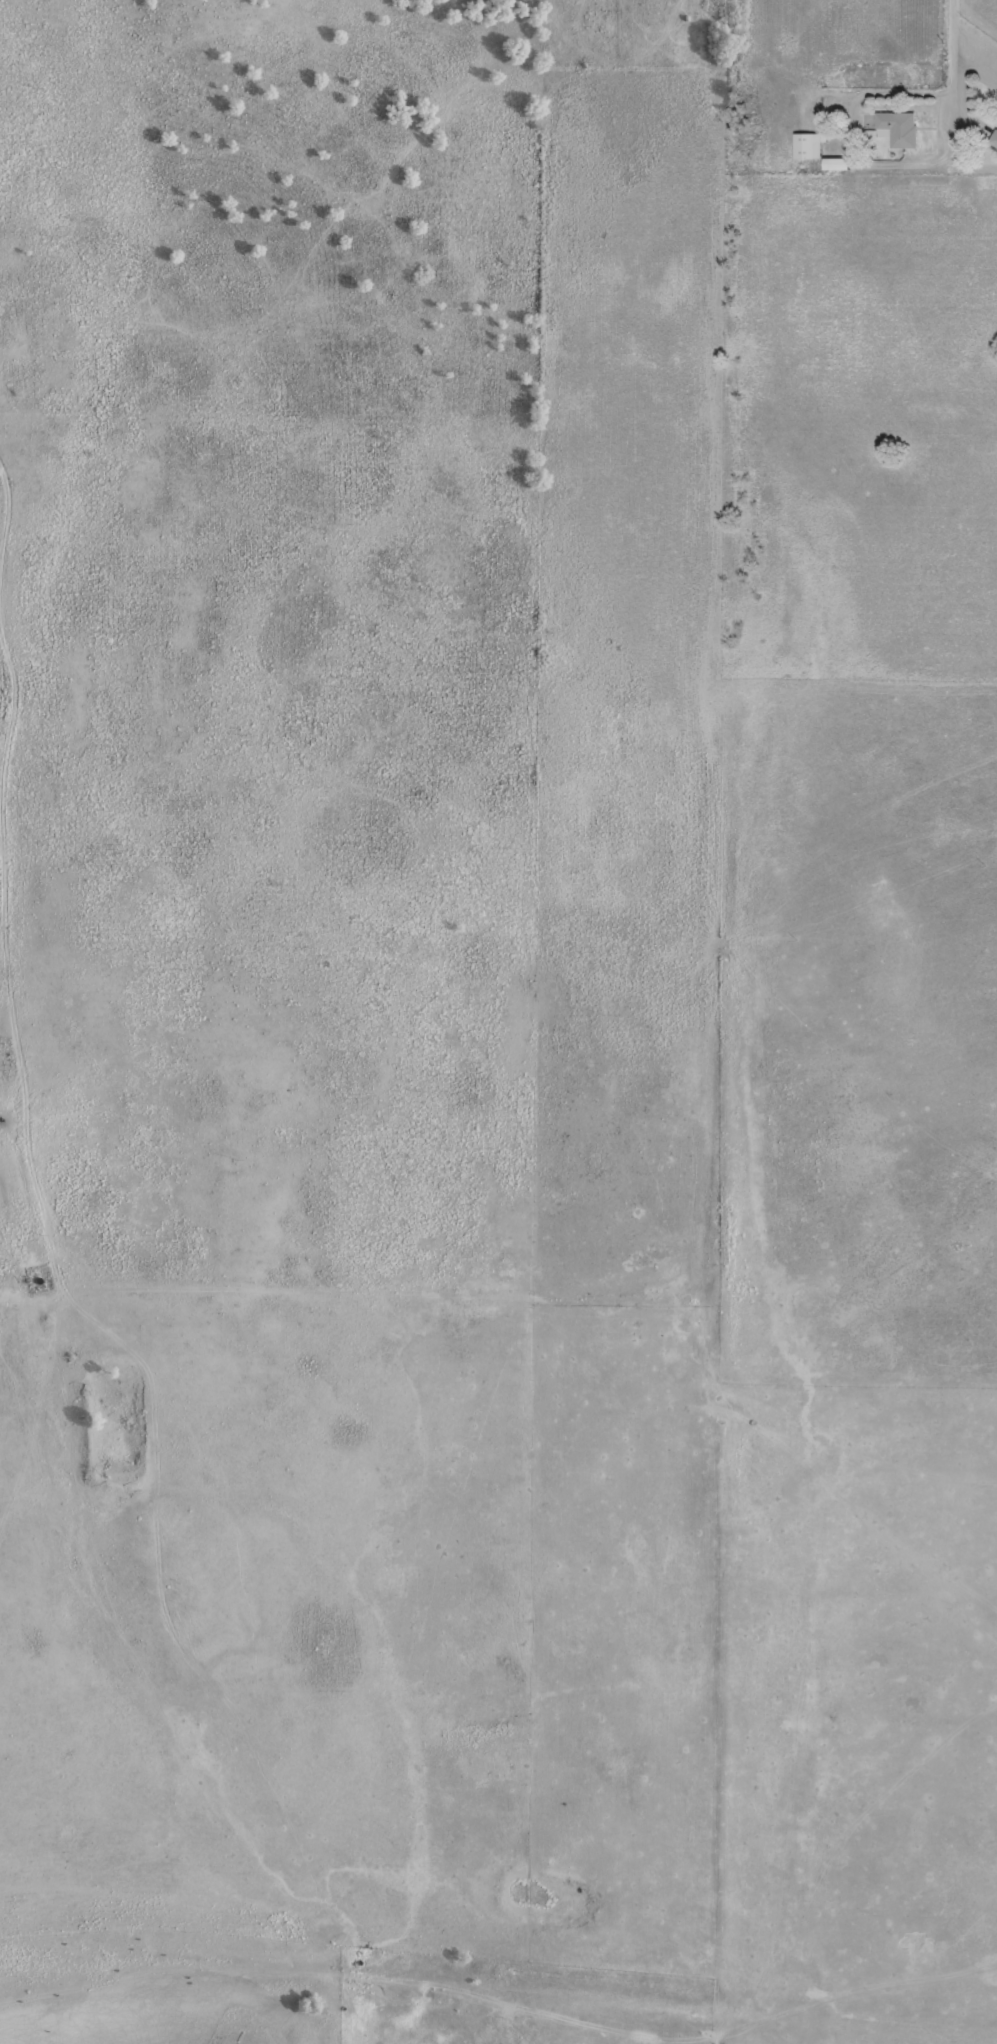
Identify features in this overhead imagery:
road: (952, 73)
building: (895, 127)
building: (993, 138)
building: (804, 145)

